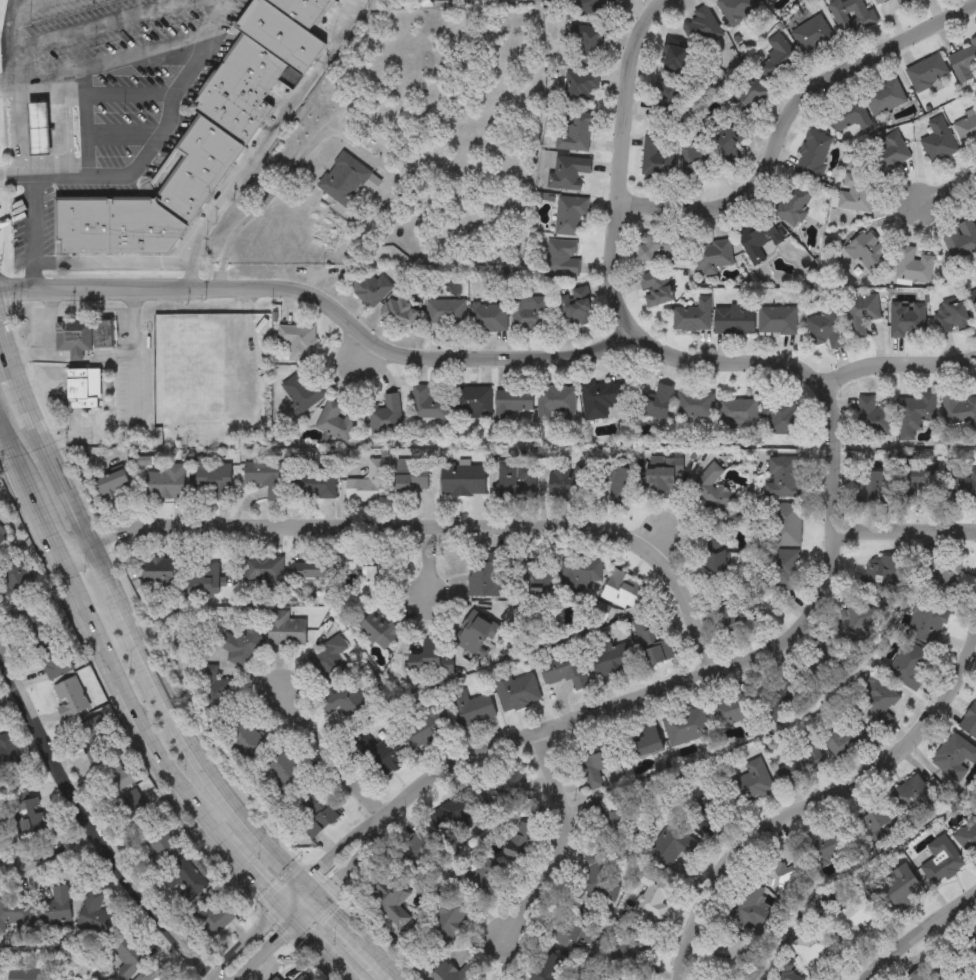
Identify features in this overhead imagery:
building: (769, 1)
building: (771, 1)
building: (878, 1)
building: (902, 2)
road: (32, 4)
building: (591, 7)
building: (735, 9)
building: (300, 10)
building: (851, 15)
road: (100, 25)
building: (700, 27)
building: (278, 35)
building: (812, 35)
road: (12, 44)
building: (401, 46)
building: (587, 48)
building: (778, 58)
building: (676, 59)
building: (963, 61)
road: (111, 64)
building: (927, 72)
building: (578, 85)
building: (238, 90)
road: (128, 95)
building: (665, 95)
building: (744, 97)
building: (884, 97)
building: (848, 115)
road: (17, 123)
road: (86, 123)
road: (785, 125)
building: (965, 126)
building: (37, 129)
road: (162, 130)
building: (574, 133)
road: (123, 134)
road: (260, 140)
building: (938, 141)
building: (711, 146)
building: (887, 152)
building: (812, 154)
building: (656, 156)
building: (197, 168)
building: (567, 171)
road: (287, 173)
building: (343, 179)
road: (948, 192)
building: (856, 193)
building: (792, 203)
road: (35, 214)
building: (569, 215)
building: (114, 225)
building: (961, 239)
building: (760, 241)
building: (659, 246)
building: (865, 250)
building: (712, 256)
building: (561, 257)
road: (110, 263)
building: (913, 265)
building: (367, 287)
building: (655, 288)
building: (973, 296)
building: (574, 306)
road: (326, 307)
building: (400, 311)
building: (444, 312)
building: (528, 313)
building: (860, 313)
building: (691, 316)
building: (950, 316)
building: (487, 317)
building: (733, 319)
building: (906, 319)
building: (777, 320)
building: (824, 329)
road: (48, 330)
building: (83, 335)
building: (296, 342)
road: (131, 343)
road: (29, 356)
road: (75, 356)
road: (901, 361)
road: (13, 366)
building: (82, 388)
building: (301, 391)
building: (599, 398)
building: (472, 400)
building: (511, 402)
building: (653, 402)
building: (555, 403)
building: (427, 404)
building: (694, 405)
building: (958, 411)
building: (737, 412)
building: (914, 413)
building: (385, 416)
building: (779, 416)
building: (873, 418)
building: (336, 420)
road: (13, 444)
road: (836, 459)
building: (662, 474)
building: (411, 475)
building: (265, 476)
building: (213, 477)
building: (516, 477)
building: (782, 477)
building: (920, 478)
building: (562, 479)
building: (462, 480)
building: (165, 482)
building: (312, 483)
building: (368, 483)
building: (110, 484)
building: (615, 485)
building: (873, 485)
building: (960, 487)
building: (711, 489)
road: (44, 515)
building: (784, 524)
road: (424, 525)
road: (907, 528)
building: (2, 538)
building: (714, 560)
road: (430, 563)
building: (159, 569)
building: (261, 569)
building: (784, 569)
building: (882, 571)
building: (314, 573)
building: (579, 573)
building: (944, 573)
building: (486, 576)
building: (202, 577)
building: (16, 579)
building: (369, 579)
building: (533, 583)
building: (621, 590)
building: (600, 611)
building: (854, 616)
building: (32, 619)
building: (729, 620)
road: (93, 621)
building: (927, 622)
building: (284, 629)
building: (378, 629)
building: (475, 634)
building: (651, 640)
building: (240, 643)
building: (54, 658)
building: (609, 658)
building: (428, 659)
building: (328, 661)
building: (907, 664)
building: (563, 668)
building: (214, 689)
building: (514, 691)
building: (878, 694)
building: (782, 696)
building: (70, 698)
building: (344, 699)
road: (18, 706)
building: (470, 708)
building: (733, 712)
road: (180, 714)
building: (969, 721)
building: (422, 726)
building: (686, 726)
building: (845, 736)
building: (94, 737)
building: (243, 738)
building: (642, 744)
building: (6, 753)
building: (384, 756)
building: (954, 758)
road: (163, 760)
road: (333, 762)
building: (593, 762)
building: (799, 765)
building: (281, 767)
building: (125, 778)
building: (750, 783)
building: (504, 787)
building: (909, 795)
road: (812, 801)
building: (133, 802)
building: (456, 808)
building: (704, 808)
building: (32, 814)
building: (606, 818)
building: (2, 819)
road: (92, 819)
building: (879, 819)
building: (318, 822)
road: (565, 836)
building: (967, 836)
building: (521, 837)
building: (829, 843)
building: (163, 846)
building: (669, 847)
road: (54, 849)
building: (942, 860)
building: (785, 868)
road: (248, 869)
building: (480, 875)
building: (597, 876)
building: (185, 879)
traffic signals: (309, 881)
building: (896, 887)
road: (295, 895)
building: (651, 895)
traffic signals: (323, 896)
building: (389, 902)
road: (315, 903)
building: (55, 907)
building: (748, 907)
building: (8, 908)
traffic signals: (282, 909)
building: (94, 914)
road: (289, 915)
building: (213, 917)
building: (852, 919)
building: (444, 921)
traffic signals: (296, 923)
building: (572, 926)
road: (924, 940)
building: (814, 947)
building: (964, 949)
road: (322, 951)
building: (629, 951)
building: (128, 953)
building: (732, 961)
building: (549, 969)
building: (452, 972)
building: (152, 973)
building: (26, 974)
building: (935, 974)
building: (278, 978)
building: (301, 979)

